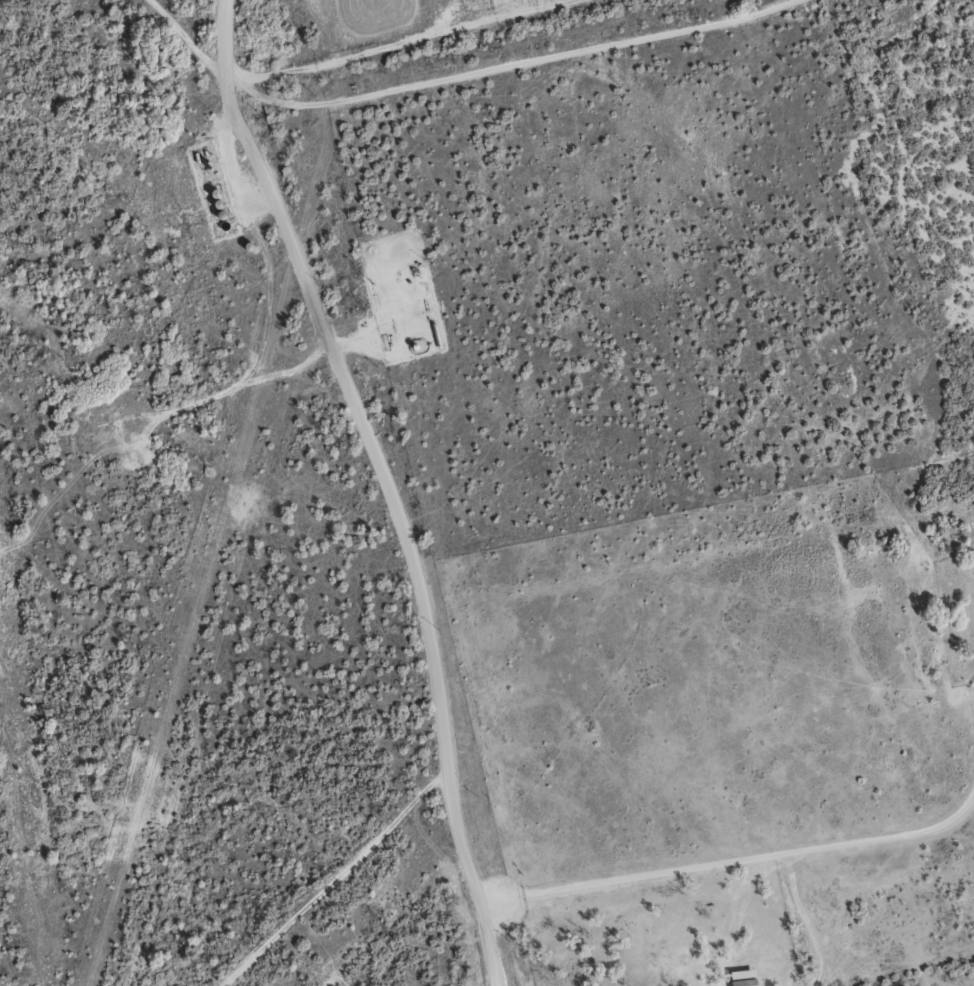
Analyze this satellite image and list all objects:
road: (381, 35)
road: (194, 41)
road: (232, 115)
road: (411, 558)
road: (885, 836)
road: (703, 865)
building: (739, 977)

